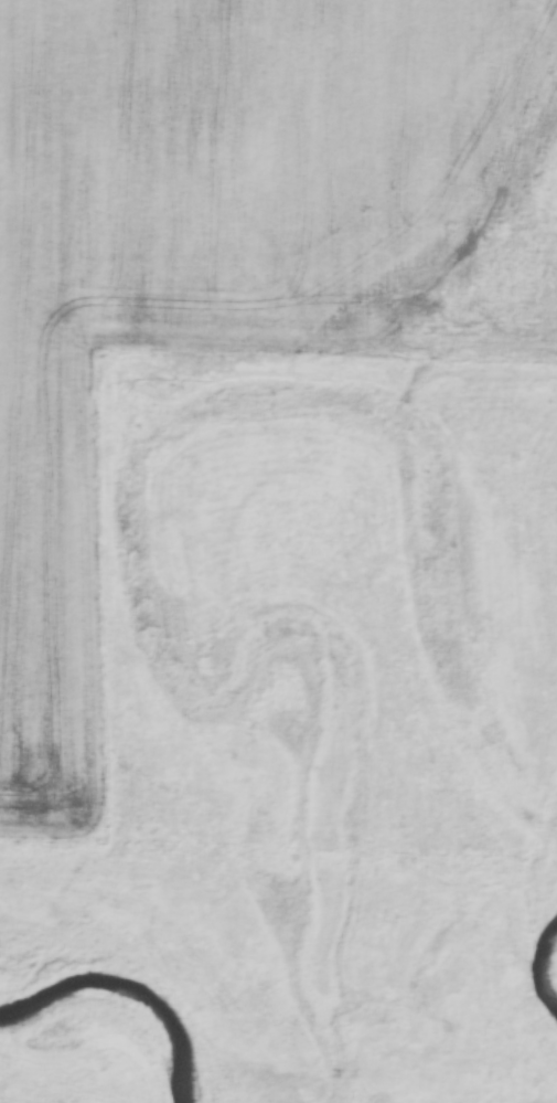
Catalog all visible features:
river: (549, 975)
river: (128, 990)

